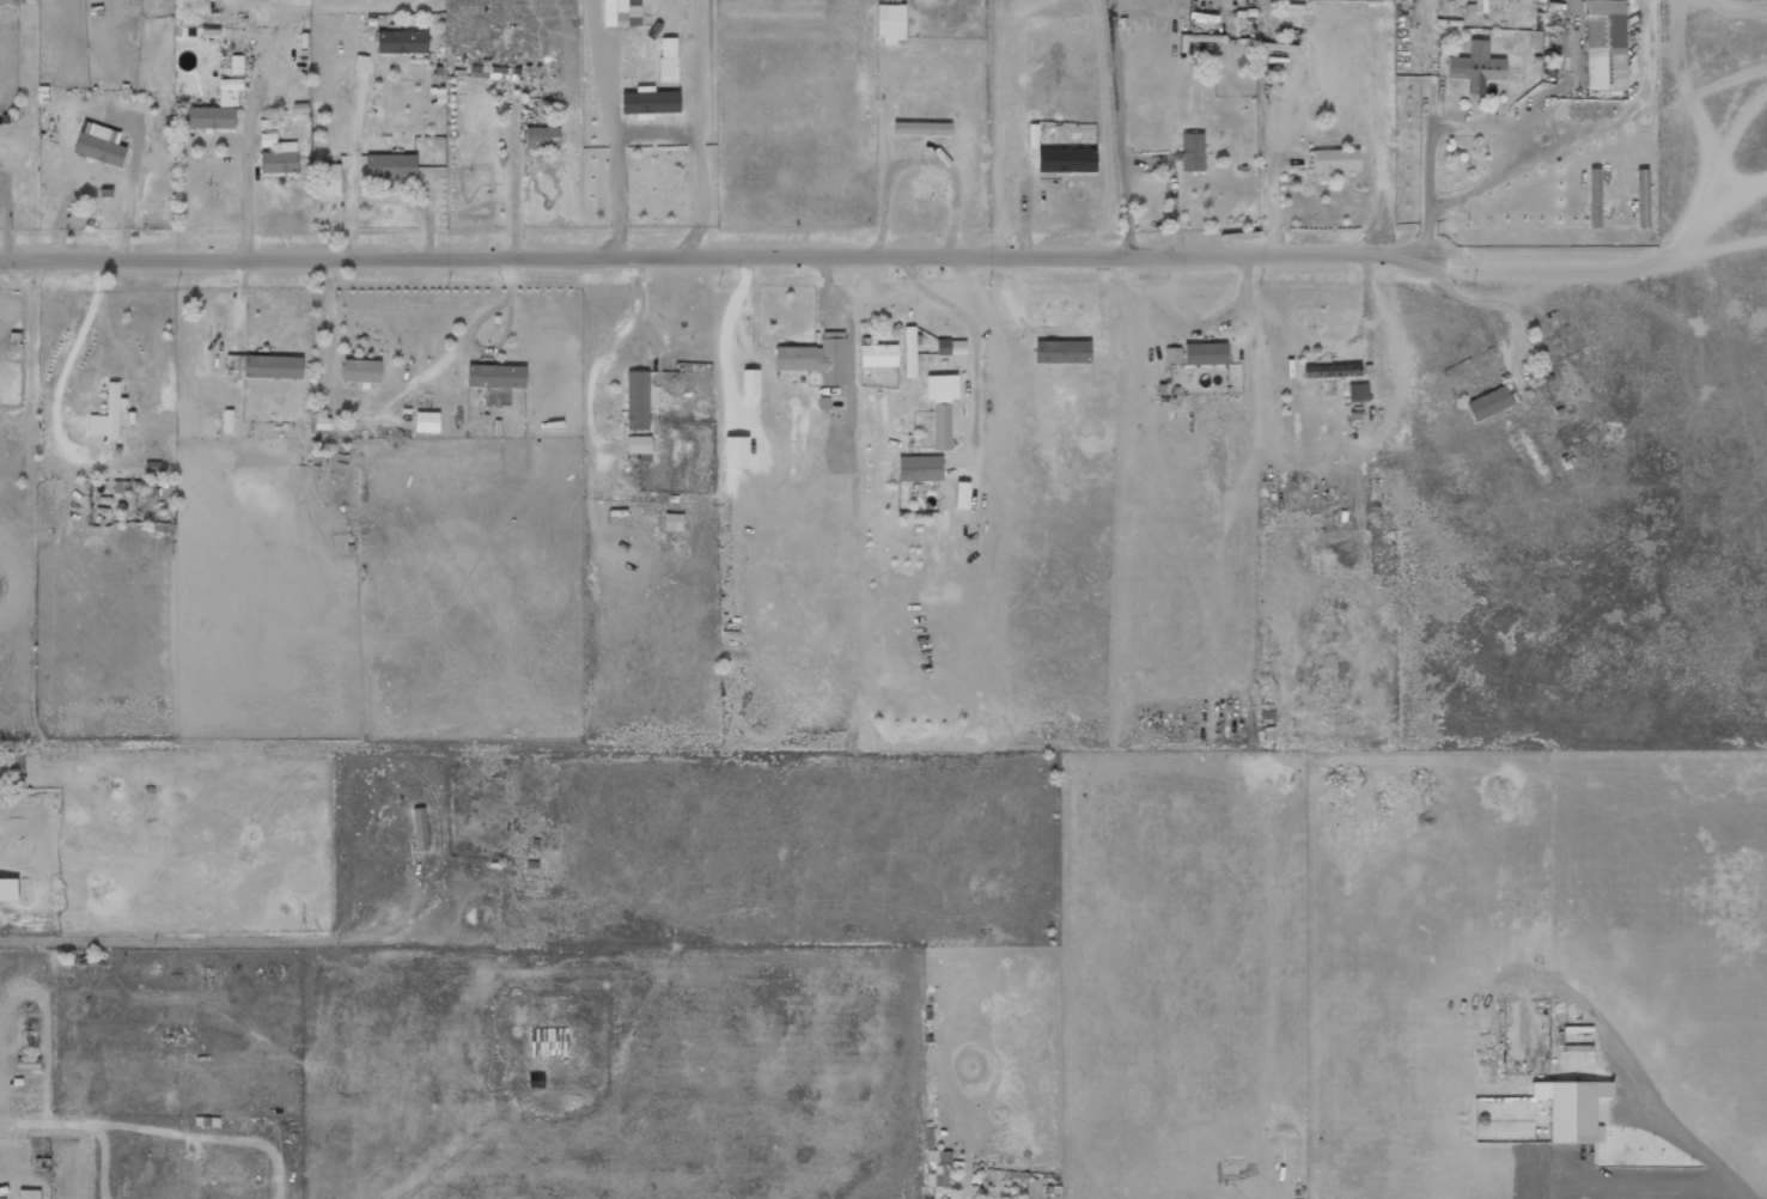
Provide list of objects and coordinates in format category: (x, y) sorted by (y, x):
building: (614, 12)
building: (889, 22)
building: (401, 42)
building: (1604, 44)
building: (668, 59)
building: (236, 65)
building: (1475, 67)
building: (494, 72)
building: (648, 102)
building: (215, 108)
building: (921, 128)
building: (541, 138)
building: (99, 144)
building: (1190, 151)
building: (280, 159)
building: (1066, 159)
building: (1334, 162)
building: (390, 165)
building: (327, 179)
building: (1594, 190)
road: (706, 254)
building: (950, 347)
building: (908, 352)
building: (1061, 352)
building: (1205, 353)
building: (877, 354)
building: (816, 358)
building: (266, 366)
building: (1330, 370)
building: (361, 371)
building: (495, 376)
building: (747, 383)
building: (1357, 390)
building: (636, 400)
building: (1488, 403)
building: (106, 414)
building: (426, 421)
building: (639, 446)
building: (919, 468)
building: (126, 487)
building: (961, 495)
building: (672, 522)
building: (420, 828)
building: (8, 889)
building: (548, 1041)
building: (28, 1063)
building: (1572, 1109)
building: (30, 1194)

